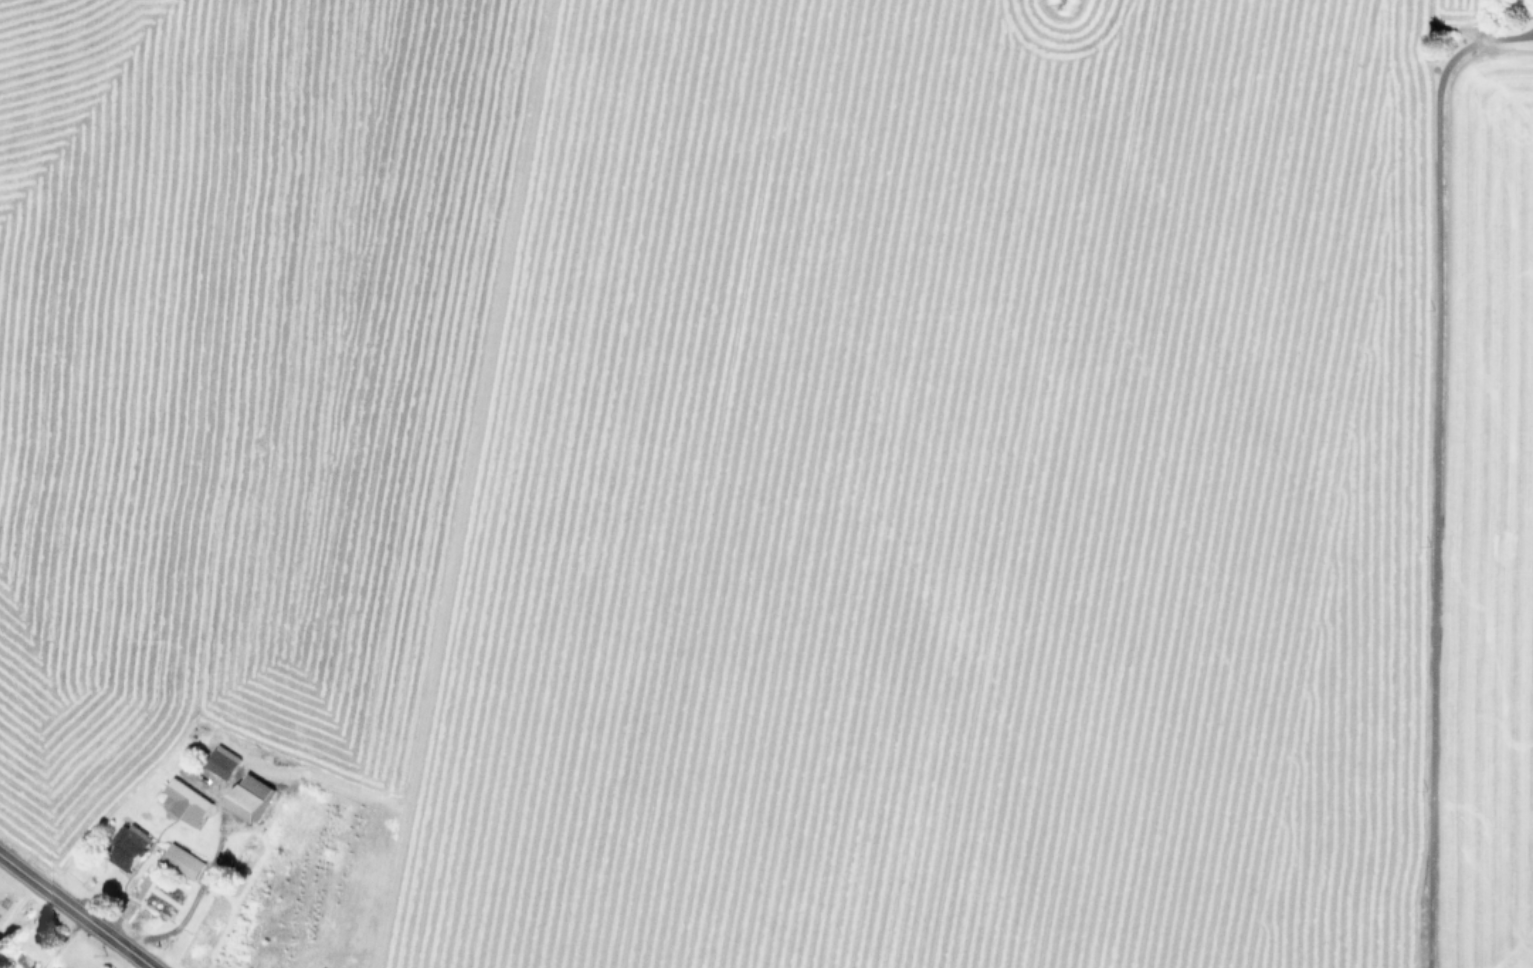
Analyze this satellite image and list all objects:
road: (1433, 466)
crop: (773, 479)
building: (223, 760)
building: (251, 795)
building: (187, 800)
building: (127, 845)
building: (184, 859)
road: (75, 911)
building: (58, 967)

